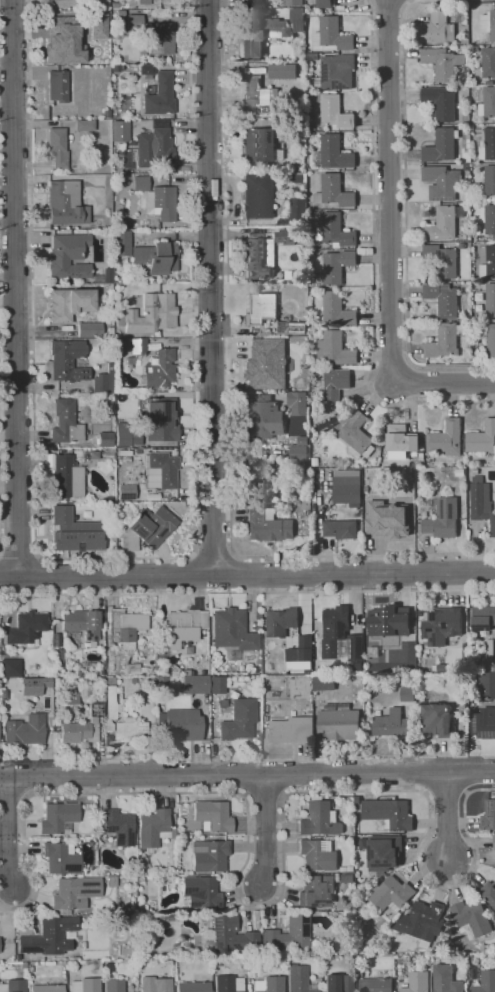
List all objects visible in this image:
building: (152, 1)
building: (293, 3)
building: (325, 3)
building: (114, 5)
building: (120, 12)
building: (298, 19)
building: (134, 22)
building: (489, 23)
building: (98, 26)
building: (438, 29)
building: (260, 35)
building: (331, 36)
building: (159, 38)
building: (62, 40)
building: (475, 48)
building: (465, 49)
road: (191, 58)
building: (489, 62)
building: (443, 63)
building: (115, 68)
building: (147, 69)
building: (286, 70)
building: (338, 72)
building: (466, 80)
building: (490, 82)
building: (58, 86)
building: (259, 93)
building: (161, 95)
building: (488, 102)
building: (440, 103)
building: (106, 113)
building: (334, 113)
building: (281, 123)
building: (85, 125)
building: (120, 131)
building: (154, 144)
building: (261, 145)
building: (442, 145)
building: (488, 145)
building: (58, 147)
building: (334, 153)
building: (467, 166)
building: (489, 181)
building: (442, 182)
building: (140, 183)
road: (7, 184)
road: (406, 185)
road: (390, 191)
building: (335, 192)
building: (253, 198)
road: (236, 199)
building: (161, 203)
building: (66, 204)
building: (298, 211)
building: (490, 220)
building: (444, 223)
road: (7, 224)
building: (335, 231)
building: (284, 236)
building: (122, 243)
building: (462, 246)
building: (259, 256)
building: (156, 257)
building: (70, 258)
building: (442, 260)
road: (374, 261)
building: (488, 263)
building: (338, 266)
road: (211, 287)
road: (15, 288)
building: (443, 298)
building: (491, 298)
road: (7, 302)
building: (69, 304)
building: (261, 307)
building: (337, 309)
building: (152, 313)
building: (292, 327)
building: (89, 330)
building: (110, 332)
building: (491, 339)
building: (445, 340)
building: (138, 346)
building: (335, 349)
building: (67, 360)
building: (130, 360)
building: (265, 363)
building: (161, 369)
building: (104, 381)
road: (443, 382)
building: (334, 384)
building: (298, 402)
building: (264, 418)
building: (161, 420)
building: (66, 422)
building: (357, 435)
building: (126, 436)
building: (482, 438)
building: (446, 439)
building: (105, 440)
building: (303, 440)
building: (401, 441)
building: (299, 452)
building: (108, 453)
building: (422, 456)
building: (420, 464)
building: (164, 469)
building: (259, 471)
building: (460, 472)
building: (67, 477)
building: (347, 489)
road: (37, 490)
building: (127, 492)
road: (231, 496)
building: (108, 499)
building: (481, 502)
road: (0, 506)
building: (110, 506)
building: (443, 518)
building: (385, 519)
building: (267, 526)
building: (341, 529)
building: (147, 530)
building: (74, 532)
road: (215, 552)
road: (18, 554)
road: (247, 573)
road: (232, 574)
road: (36, 576)
road: (187, 576)
road: (2, 581)
road: (247, 593)
building: (483, 618)
building: (281, 621)
building: (389, 621)
building: (83, 623)
building: (442, 625)
building: (184, 626)
building: (26, 627)
building: (227, 627)
building: (126, 628)
building: (340, 636)
building: (247, 641)
building: (300, 654)
building: (489, 655)
building: (10, 668)
building: (135, 668)
building: (173, 668)
building: (55, 672)
building: (186, 672)
building: (255, 682)
building: (324, 683)
building: (487, 683)
building: (195, 684)
building: (217, 685)
building: (33, 686)
building: (408, 694)
building: (71, 698)
building: (111, 703)
building: (222, 703)
building: (238, 720)
building: (438, 720)
building: (338, 722)
building: (484, 723)
building: (391, 724)
building: (183, 725)
building: (83, 726)
building: (27, 728)
building: (291, 729)
building: (130, 730)
road: (247, 774)
building: (344, 802)
building: (387, 813)
road: (447, 814)
building: (488, 815)
building: (212, 816)
building: (58, 818)
building: (321, 819)
building: (116, 826)
building: (154, 829)
road: (265, 829)
road: (7, 835)
building: (494, 842)
building: (384, 852)
building: (210, 855)
building: (318, 855)
building: (61, 858)
building: (347, 869)
building: (93, 870)
building: (348, 877)
building: (140, 879)
building: (317, 890)
building: (201, 892)
building: (489, 892)
building: (75, 893)
building: (392, 894)
road: (275, 903)
building: (140, 906)
building: (472, 918)
building: (131, 919)
building: (424, 920)
building: (132, 932)
building: (69, 935)
building: (50, 936)
building: (286, 936)
building: (229, 937)
building: (24, 967)
building: (30, 969)
building: (446, 979)
building: (299, 980)
building: (417, 982)
building: (486, 982)
building: (340, 983)
building: (228, 984)
building: (269, 984)
building: (85, 985)
building: (155, 985)
building: (376, 985)
building: (13, 986)
building: (114, 986)
building: (193, 987)
building: (47, 988)

